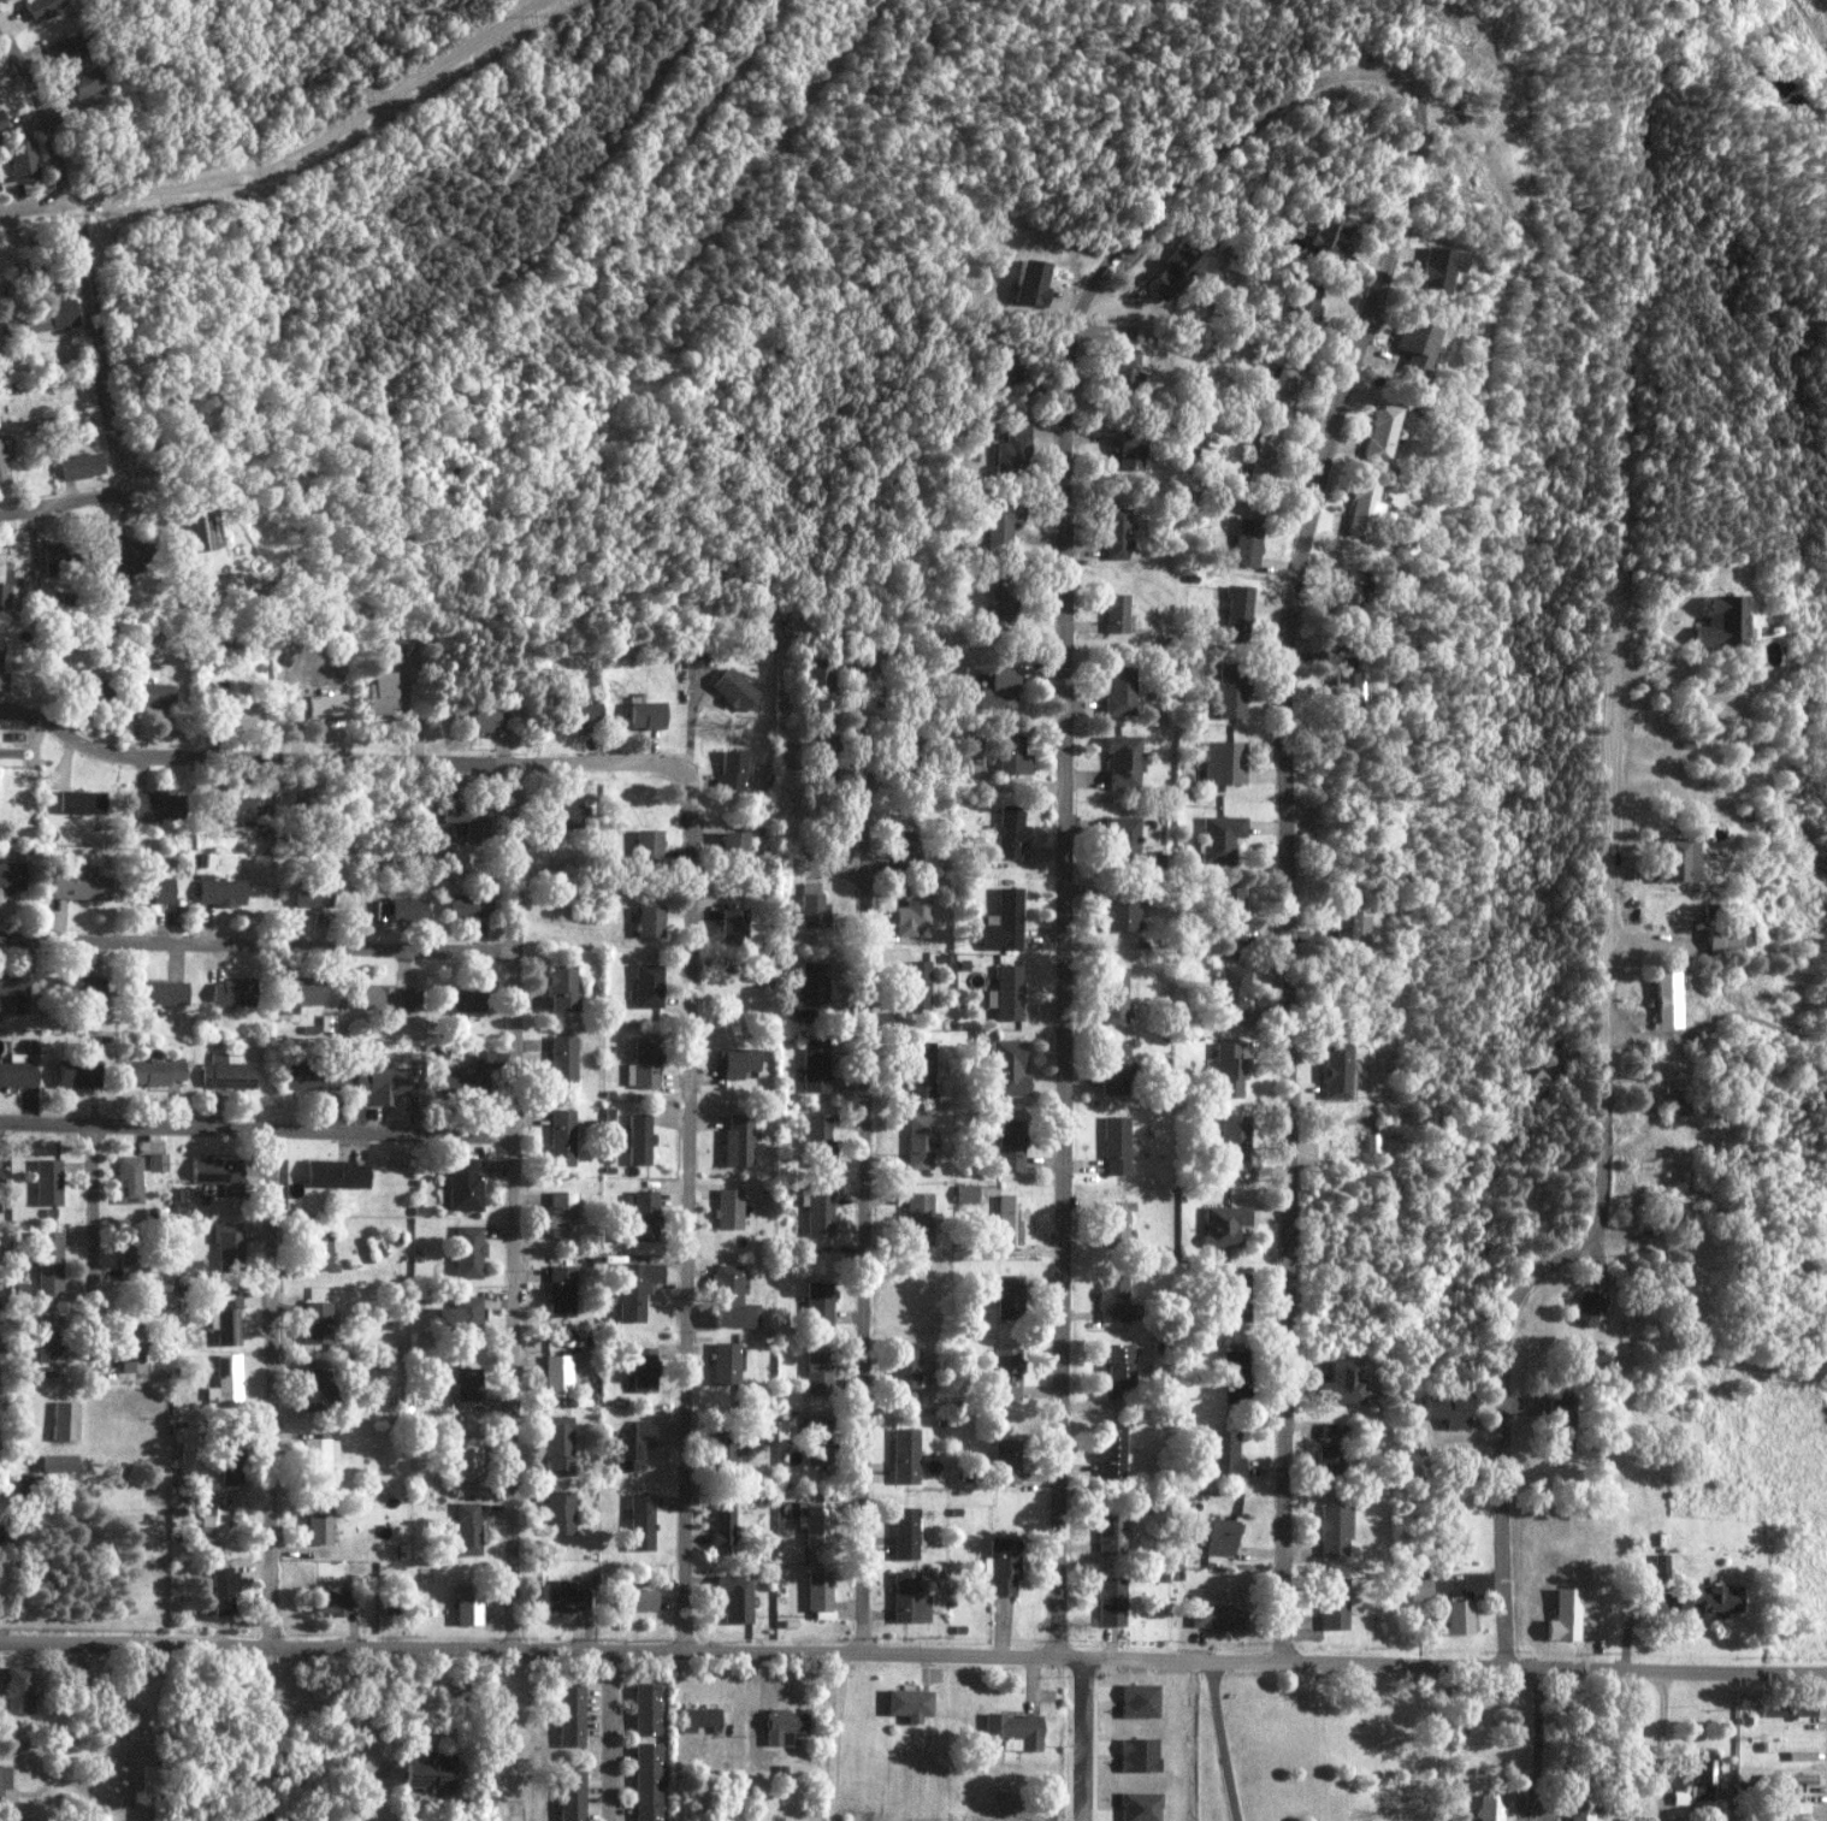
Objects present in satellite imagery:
building: (42, 7)
building: (61, 47)
building: (81, 83)
road: (41, 110)
building: (0, 125)
building: (19, 161)
road: (32, 207)
building: (1329, 233)
building: (1438, 267)
building: (1175, 268)
building: (1033, 280)
building: (1306, 301)
building: (60, 313)
road: (97, 339)
building: (1415, 345)
building: (1009, 365)
building: (1127, 366)
building: (1287, 376)
building: (1380, 432)
building: (1012, 449)
building: (1129, 450)
building: (1263, 456)
building: (4, 462)
building: (81, 465)
road: (65, 504)
building: (1360, 510)
building: (999, 524)
building: (197, 528)
building: (1117, 532)
building: (1246, 540)
building: (129, 554)
building: (5, 586)
building: (1344, 595)
building: (999, 609)
building: (1116, 611)
building: (1237, 613)
building: (1721, 621)
building: (230, 634)
building: (696, 656)
building: (0, 657)
building: (817, 672)
building: (999, 687)
building: (735, 688)
building: (1231, 688)
building: (1343, 688)
building: (1119, 690)
building: (380, 691)
building: (153, 693)
building: (324, 704)
building: (648, 714)
building: (581, 715)
building: (241, 717)
building: (479, 719)
building: (332, 727)
building: (823, 740)
building: (916, 751)
building: (1012, 753)
road: (336, 756)
building: (1122, 759)
building: (1225, 761)
building: (732, 769)
building: (82, 800)
building: (159, 803)
road: (1065, 805)
building: (568, 814)
building: (466, 816)
road: (1288, 827)
building: (1010, 830)
building: (1122, 836)
building: (1219, 836)
building: (733, 844)
building: (649, 847)
building: (910, 849)
building: (1680, 858)
building: (12, 876)
building: (81, 885)
building: (155, 889)
building: (221, 892)
building: (309, 895)
building: (811, 904)
building: (468, 905)
building: (912, 907)
building: (407, 909)
building: (1226, 912)
building: (1118, 914)
building: (649, 920)
building: (732, 921)
building: (1004, 921)
building: (1346, 922)
building: (1731, 930)
road: (259, 946)
building: (646, 985)
building: (916, 985)
building: (83, 987)
building: (561, 988)
building: (16, 989)
building: (810, 989)
building: (235, 991)
building: (1230, 991)
building: (164, 992)
building: (1007, 992)
building: (302, 993)
building: (1113, 994)
building: (386, 997)
building: (1671, 997)
building: (462, 998)
building: (561, 1058)
building: (738, 1060)
building: (643, 1062)
building: (814, 1064)
building: (1007, 1068)
building: (921, 1069)
building: (1114, 1069)
building: (1226, 1069)
building: (1332, 1070)
building: (18, 1071)
building: (155, 1071)
building: (230, 1071)
building: (81, 1072)
building: (317, 1076)
building: (466, 1077)
building: (383, 1084)
building: (1535, 1086)
road: (258, 1131)
building: (561, 1136)
building: (816, 1136)
building: (639, 1137)
building: (1234, 1139)
building: (918, 1141)
building: (737, 1142)
building: (1116, 1145)
building: (1007, 1147)
road: (1607, 1159)
building: (158, 1161)
road: (869, 1165)
building: (338, 1172)
building: (220, 1173)
building: (4, 1175)
building: (130, 1178)
building: (49, 1182)
building: (463, 1184)
building: (965, 1193)
building: (1675, 1200)
road: (688, 1205)
road: (516, 1206)
building: (729, 1208)
building: (820, 1208)
building: (562, 1213)
building: (641, 1216)
building: (918, 1218)
building: (1010, 1219)
building: (1114, 1222)
building: (1224, 1224)
building: (229, 1244)
road: (94, 1247)
building: (319, 1249)
building: (469, 1252)
building: (130, 1261)
building: (49, 1264)
building: (635, 1289)
building: (561, 1290)
building: (1007, 1294)
building: (733, 1297)
building: (1114, 1297)
building: (1236, 1297)
building: (820, 1302)
building: (1591, 1307)
building: (462, 1313)
building: (225, 1317)
building: (317, 1322)
building: (49, 1337)
building: (130, 1347)
building: (727, 1362)
building: (1117, 1365)
building: (907, 1367)
building: (644, 1368)
building: (821, 1372)
building: (1009, 1373)
building: (1235, 1374)
building: (557, 1376)
building: (226, 1380)
building: (1342, 1382)
building: (469, 1388)
road: (276, 1389)
building: (320, 1393)
building: (1448, 1409)
building: (65, 1420)
building: (1566, 1421)
building: (1326, 1431)
building: (818, 1439)
building: (558, 1445)
building: (633, 1445)
building: (726, 1448)
building: (1112, 1450)
building: (1224, 1454)
building: (907, 1455)
building: (319, 1458)
building: (468, 1458)
building: (1009, 1460)
building: (59, 1462)
building: (1328, 1462)
building: (232, 1465)
building: (28, 1485)
building: (560, 1512)
building: (726, 1520)
building: (643, 1521)
building: (213, 1524)
building: (320, 1525)
building: (816, 1525)
building: (468, 1527)
building: (1335, 1530)
building: (906, 1533)
building: (1113, 1533)
building: (1220, 1536)
building: (1661, 1562)
building: (1005, 1566)
building: (223, 1589)
building: (1423, 1589)
building: (822, 1595)
building: (564, 1596)
building: (638, 1598)
building: (738, 1598)
building: (910, 1598)
building: (1711, 1600)
building: (333, 1601)
building: (1112, 1601)
building: (1335, 1603)
building: (468, 1604)
building: (1568, 1614)
building: (1217, 1615)
building: (1462, 1616)
road: (913, 1653)
building: (81, 1679)
building: (23, 1690)
building: (910, 1704)
building: (645, 1708)
building: (1787, 1709)
building: (569, 1716)
building: (698, 1719)
building: (785, 1726)
building: (1015, 1731)
road: (268, 1733)
road: (601, 1734)
road: (832, 1736)
road: (1217, 1740)
road: (1541, 1743)
building: (1792, 1749)
building: (432, 1773)
building: (1703, 1776)
building: (1798, 1779)
building: (149, 1780)
building: (645, 1781)
building: (5, 1786)
building: (570, 1796)
building: (1491, 1808)
building: (1584, 1808)
building: (1797, 1811)

